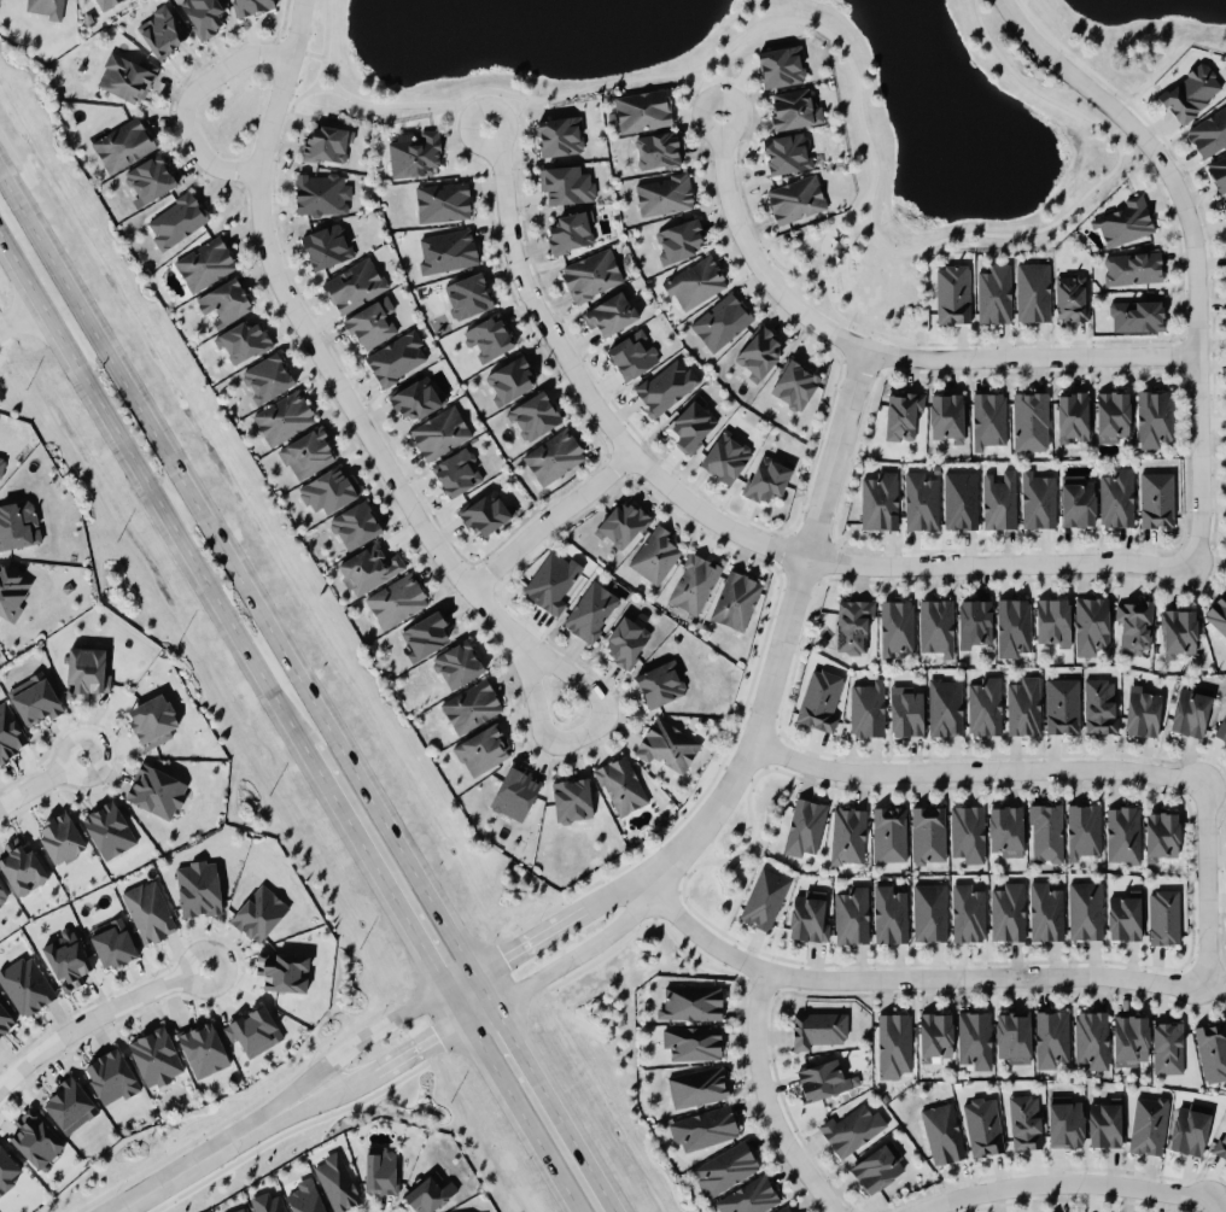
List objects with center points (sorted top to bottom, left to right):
building: (104, 2)
building: (250, 5)
building: (45, 8)
building: (202, 14)
building: (160, 29)
road: (326, 31)
road: (309, 51)
building: (781, 65)
building: (125, 75)
building: (1190, 92)
road: (188, 100)
building: (643, 109)
building: (792, 109)
road: (860, 111)
building: (1208, 130)
building: (560, 134)
building: (326, 142)
building: (122, 144)
building: (656, 150)
building: (787, 152)
building: (415, 153)
building: (1218, 171)
building: (150, 177)
building: (565, 183)
building: (664, 192)
building: (320, 193)
building: (794, 198)
building: (442, 200)
building: (1224, 204)
building: (175, 219)
building: (1121, 221)
building: (571, 230)
building: (677, 239)
building: (326, 245)
road: (1195, 245)
building: (445, 248)
building: (204, 263)
building: (1131, 267)
building: (591, 274)
building: (694, 282)
building: (354, 285)
building: (1032, 291)
building: (952, 292)
building: (994, 292)
building: (467, 294)
building: (1072, 295)
building: (224, 299)
road: (19, 312)
road: (299, 312)
building: (611, 312)
building: (1134, 314)
building: (720, 320)
building: (370, 322)
building: (488, 338)
building: (241, 341)
building: (758, 351)
road: (885, 351)
building: (632, 353)
building: (397, 357)
building: (267, 376)
building: (509, 377)
building: (664, 383)
building: (794, 383)
building: (415, 397)
building: (901, 412)
building: (1110, 414)
building: (533, 415)
building: (1072, 415)
building: (284, 416)
building: (945, 416)
building: (1154, 416)
building: (987, 417)
building: (1029, 418)
building: (693, 422)
building: (439, 432)
building: (306, 452)
building: (553, 455)
building: (725, 456)
building: (1, 464)
building: (457, 470)
building: (767, 475)
building: (328, 488)
road: (151, 491)
building: (1116, 496)
building: (1038, 497)
building: (998, 498)
building: (1156, 498)
building: (878, 499)
building: (959, 499)
building: (1076, 499)
building: (920, 500)
building: (485, 511)
road: (553, 515)
building: (18, 523)
building: (355, 523)
building: (621, 523)
road: (725, 526)
building: (654, 552)
building: (368, 567)
road: (237, 572)
building: (551, 579)
building: (693, 580)
building: (11, 590)
building: (735, 598)
building: (396, 599)
building: (591, 610)
building: (1216, 611)
building: (974, 621)
building: (1051, 621)
building: (1090, 622)
building: (935, 623)
road: (784, 625)
building: (853, 625)
building: (1132, 625)
building: (895, 626)
building: (1012, 626)
building: (1178, 631)
building: (424, 633)
building: (627, 638)
building: (457, 663)
building: (86, 671)
building: (660, 683)
building: (34, 698)
building: (821, 698)
building: (1099, 703)
building: (471, 704)
building: (944, 704)
building: (1062, 704)
building: (983, 705)
building: (1023, 705)
building: (866, 707)
building: (1191, 708)
building: (1142, 709)
building: (905, 710)
building: (152, 720)
building: (1221, 728)
building: (10, 732)
road: (551, 738)
building: (667, 745)
building: (481, 749)
road: (973, 768)
road: (42, 780)
building: (620, 784)
building: (156, 790)
building: (515, 790)
building: (571, 798)
building: (804, 825)
building: (107, 827)
building: (1082, 827)
building: (1004, 829)
building: (967, 830)
building: (1045, 831)
building: (888, 832)
building: (928, 832)
building: (1122, 832)
building: (1160, 833)
building: (847, 835)
building: (60, 837)
building: (21, 863)
road: (1207, 882)
road: (381, 883)
building: (197, 886)
road: (617, 891)
building: (1, 895)
building: (764, 897)
building: (929, 909)
building: (1085, 909)
building: (148, 911)
building: (967, 911)
building: (1008, 911)
building: (1044, 911)
building: (258, 912)
building: (889, 912)
building: (0, 913)
building: (808, 914)
building: (852, 914)
building: (1123, 914)
building: (1162, 915)
road: (529, 937)
building: (112, 942)
road: (579, 949)
building: (65, 956)
building: (284, 971)
road: (909, 976)
road: (459, 979)
building: (25, 983)
building: (691, 1001)
road: (477, 1008)
road: (94, 1015)
building: (5, 1019)
building: (818, 1027)
building: (252, 1029)
building: (1011, 1034)
building: (935, 1035)
building: (974, 1036)
building: (1050, 1036)
building: (1091, 1036)
building: (1129, 1038)
building: (691, 1040)
road: (419, 1043)
building: (893, 1043)
building: (1167, 1046)
building: (203, 1048)
building: (1212, 1048)
road: (351, 1050)
building: (154, 1054)
building: (110, 1076)
building: (822, 1078)
building: (697, 1085)
road: (545, 1090)
road: (322, 1095)
road: (766, 1099)
building: (68, 1103)
road: (519, 1114)
building: (1024, 1120)
building: (1064, 1120)
building: (1103, 1120)
building: (1148, 1123)
building: (982, 1125)
building: (704, 1126)
building: (851, 1126)
building: (1189, 1126)
building: (941, 1131)
building: (34, 1138)
building: (1221, 1144)
building: (878, 1165)
road: (189, 1166)
building: (725, 1167)
building: (7, 1169)
building: (380, 1170)
building: (337, 1181)
road: (1064, 1181)
building: (428, 1194)
building: (305, 1196)
building: (749, 1196)
building: (269, 1202)
road: (1213, 1207)
building: (784, 1208)
building: (241, 1210)

